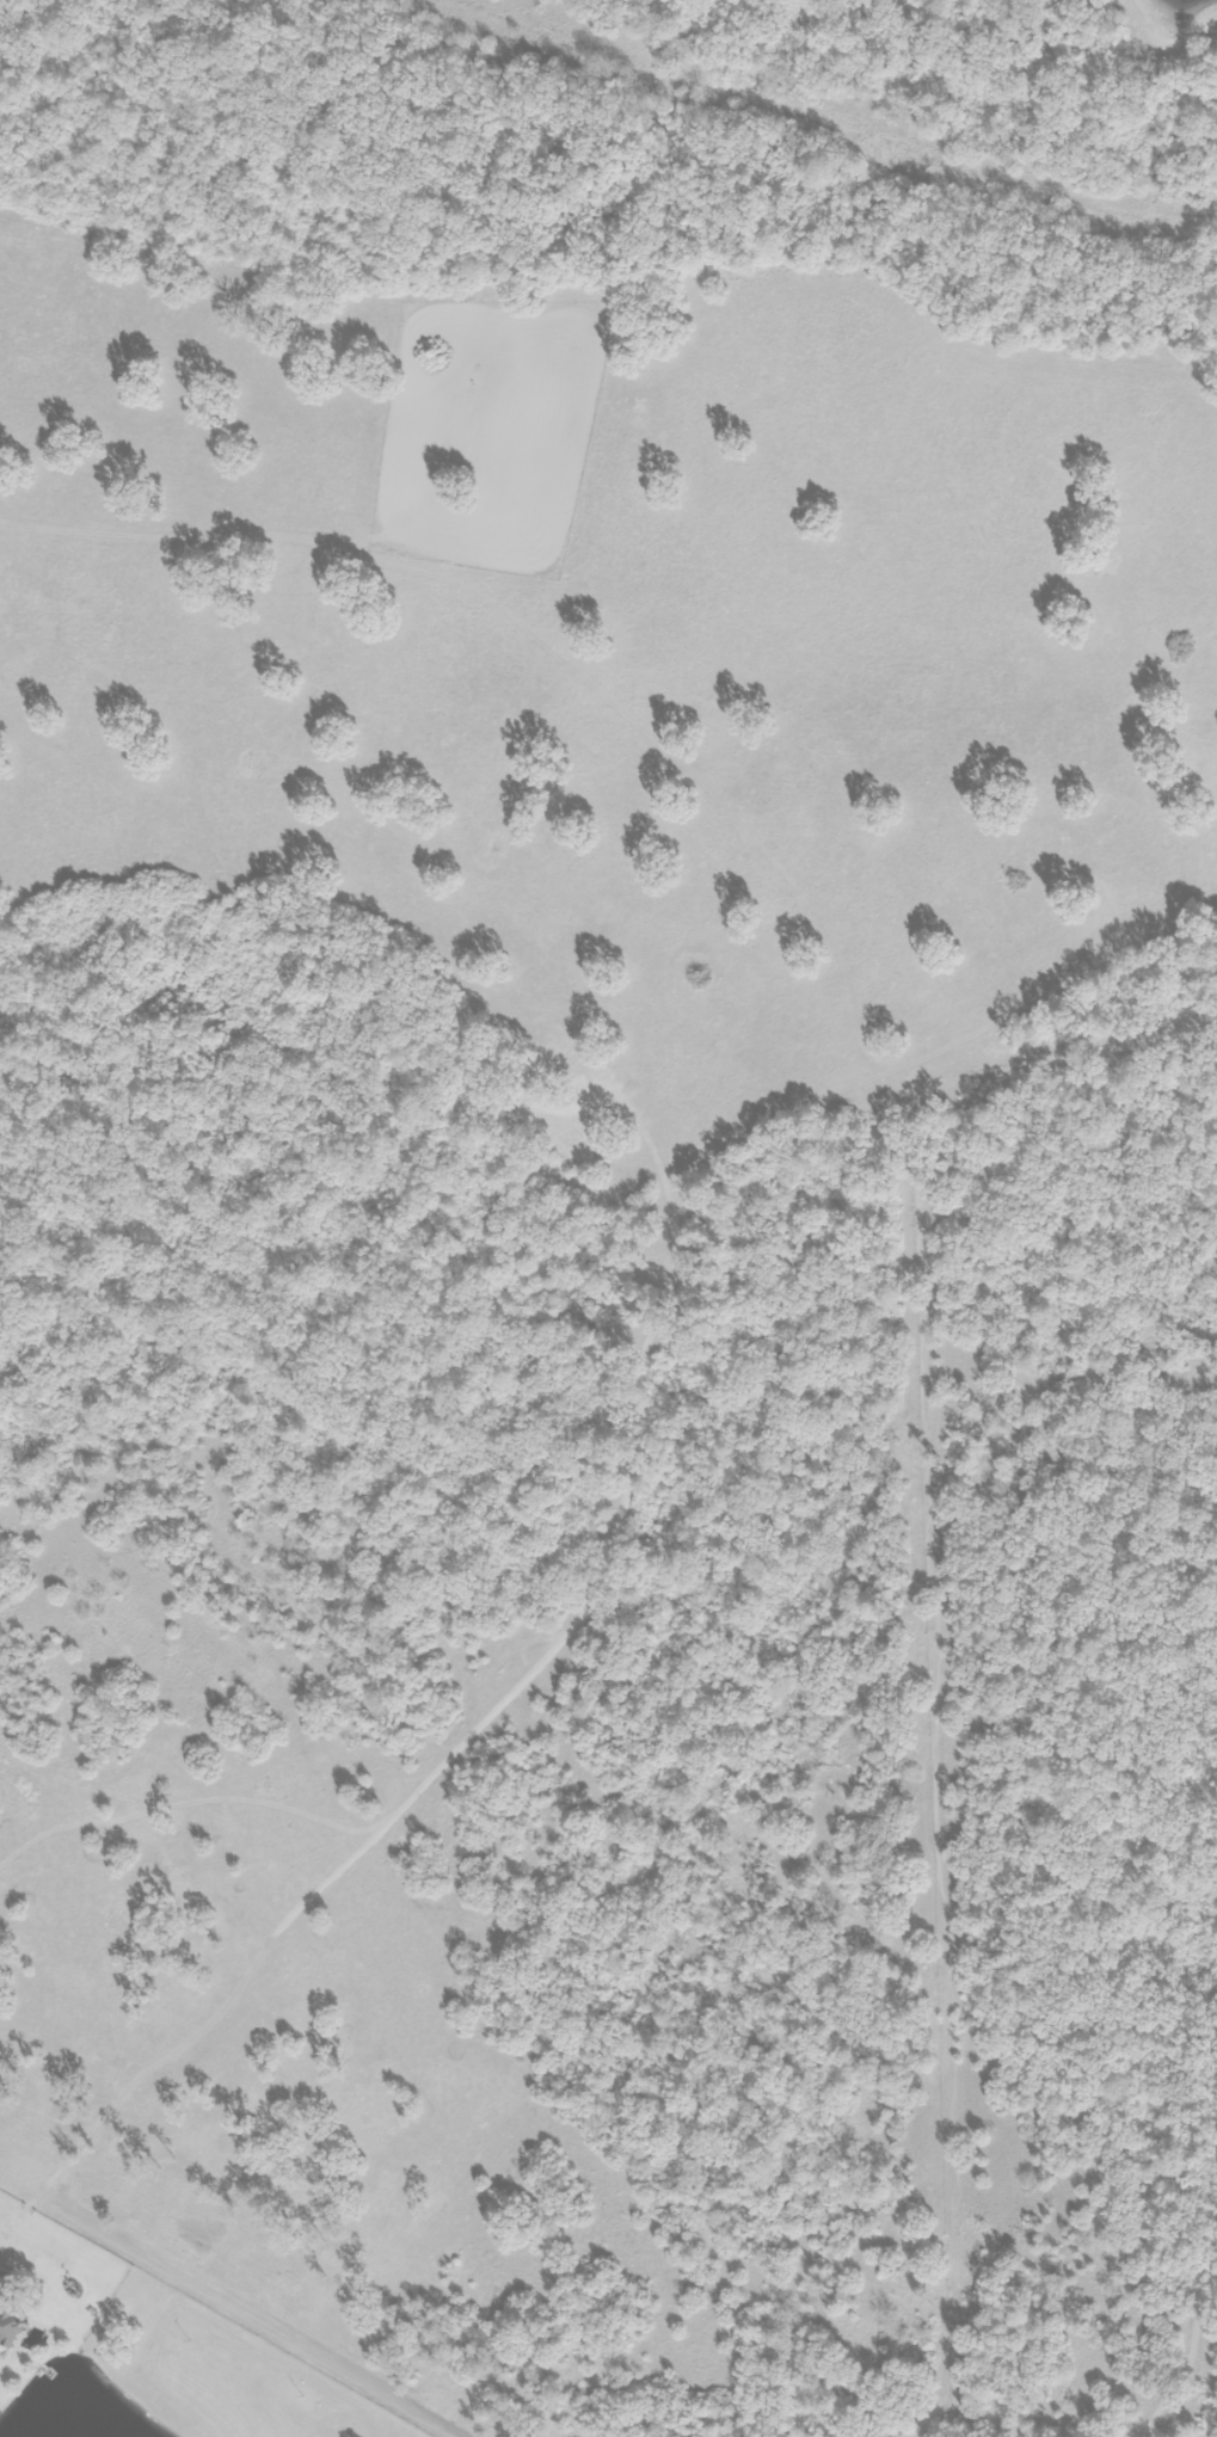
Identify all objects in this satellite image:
building: (10, 2324)

